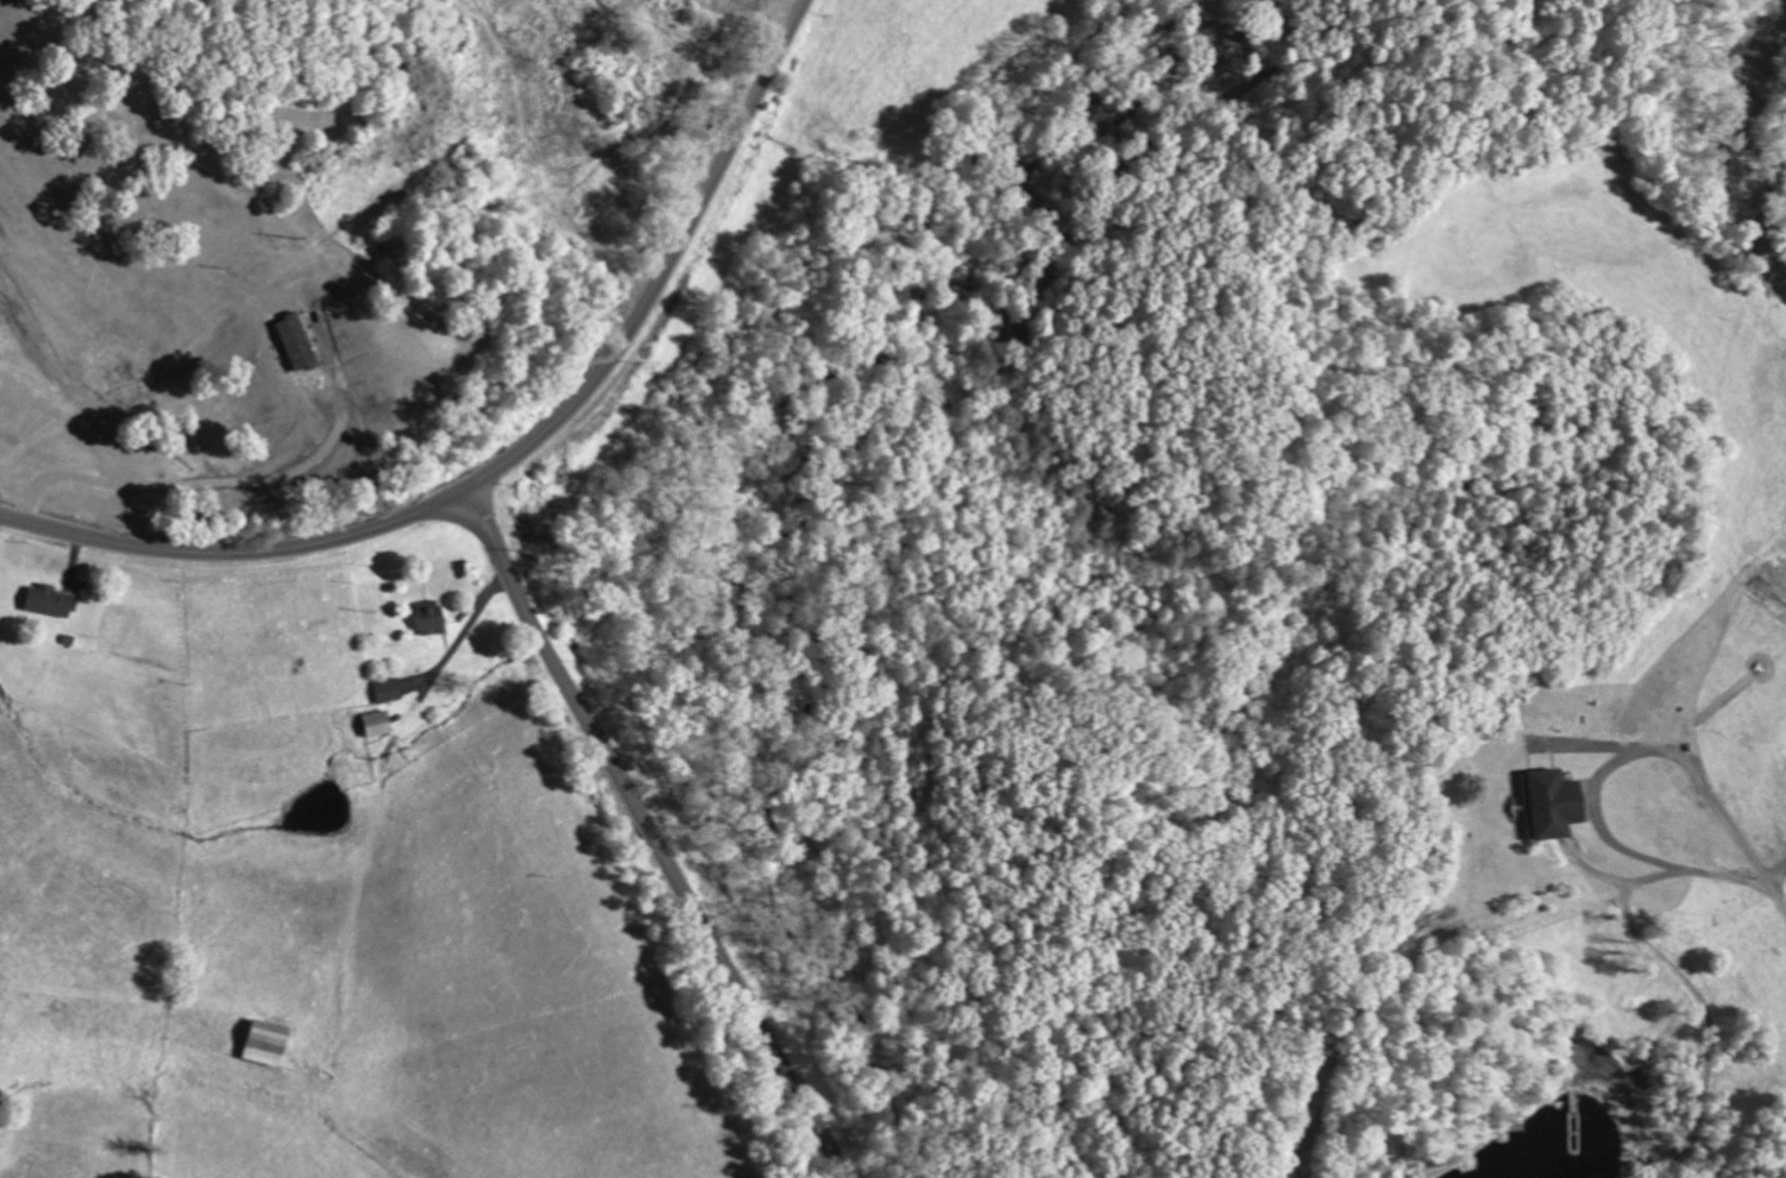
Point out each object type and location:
road: (517, 454)
building: (54, 600)
building: (434, 617)
building: (391, 689)
building: (384, 723)
building: (1546, 804)
road: (654, 836)
building: (273, 1044)

